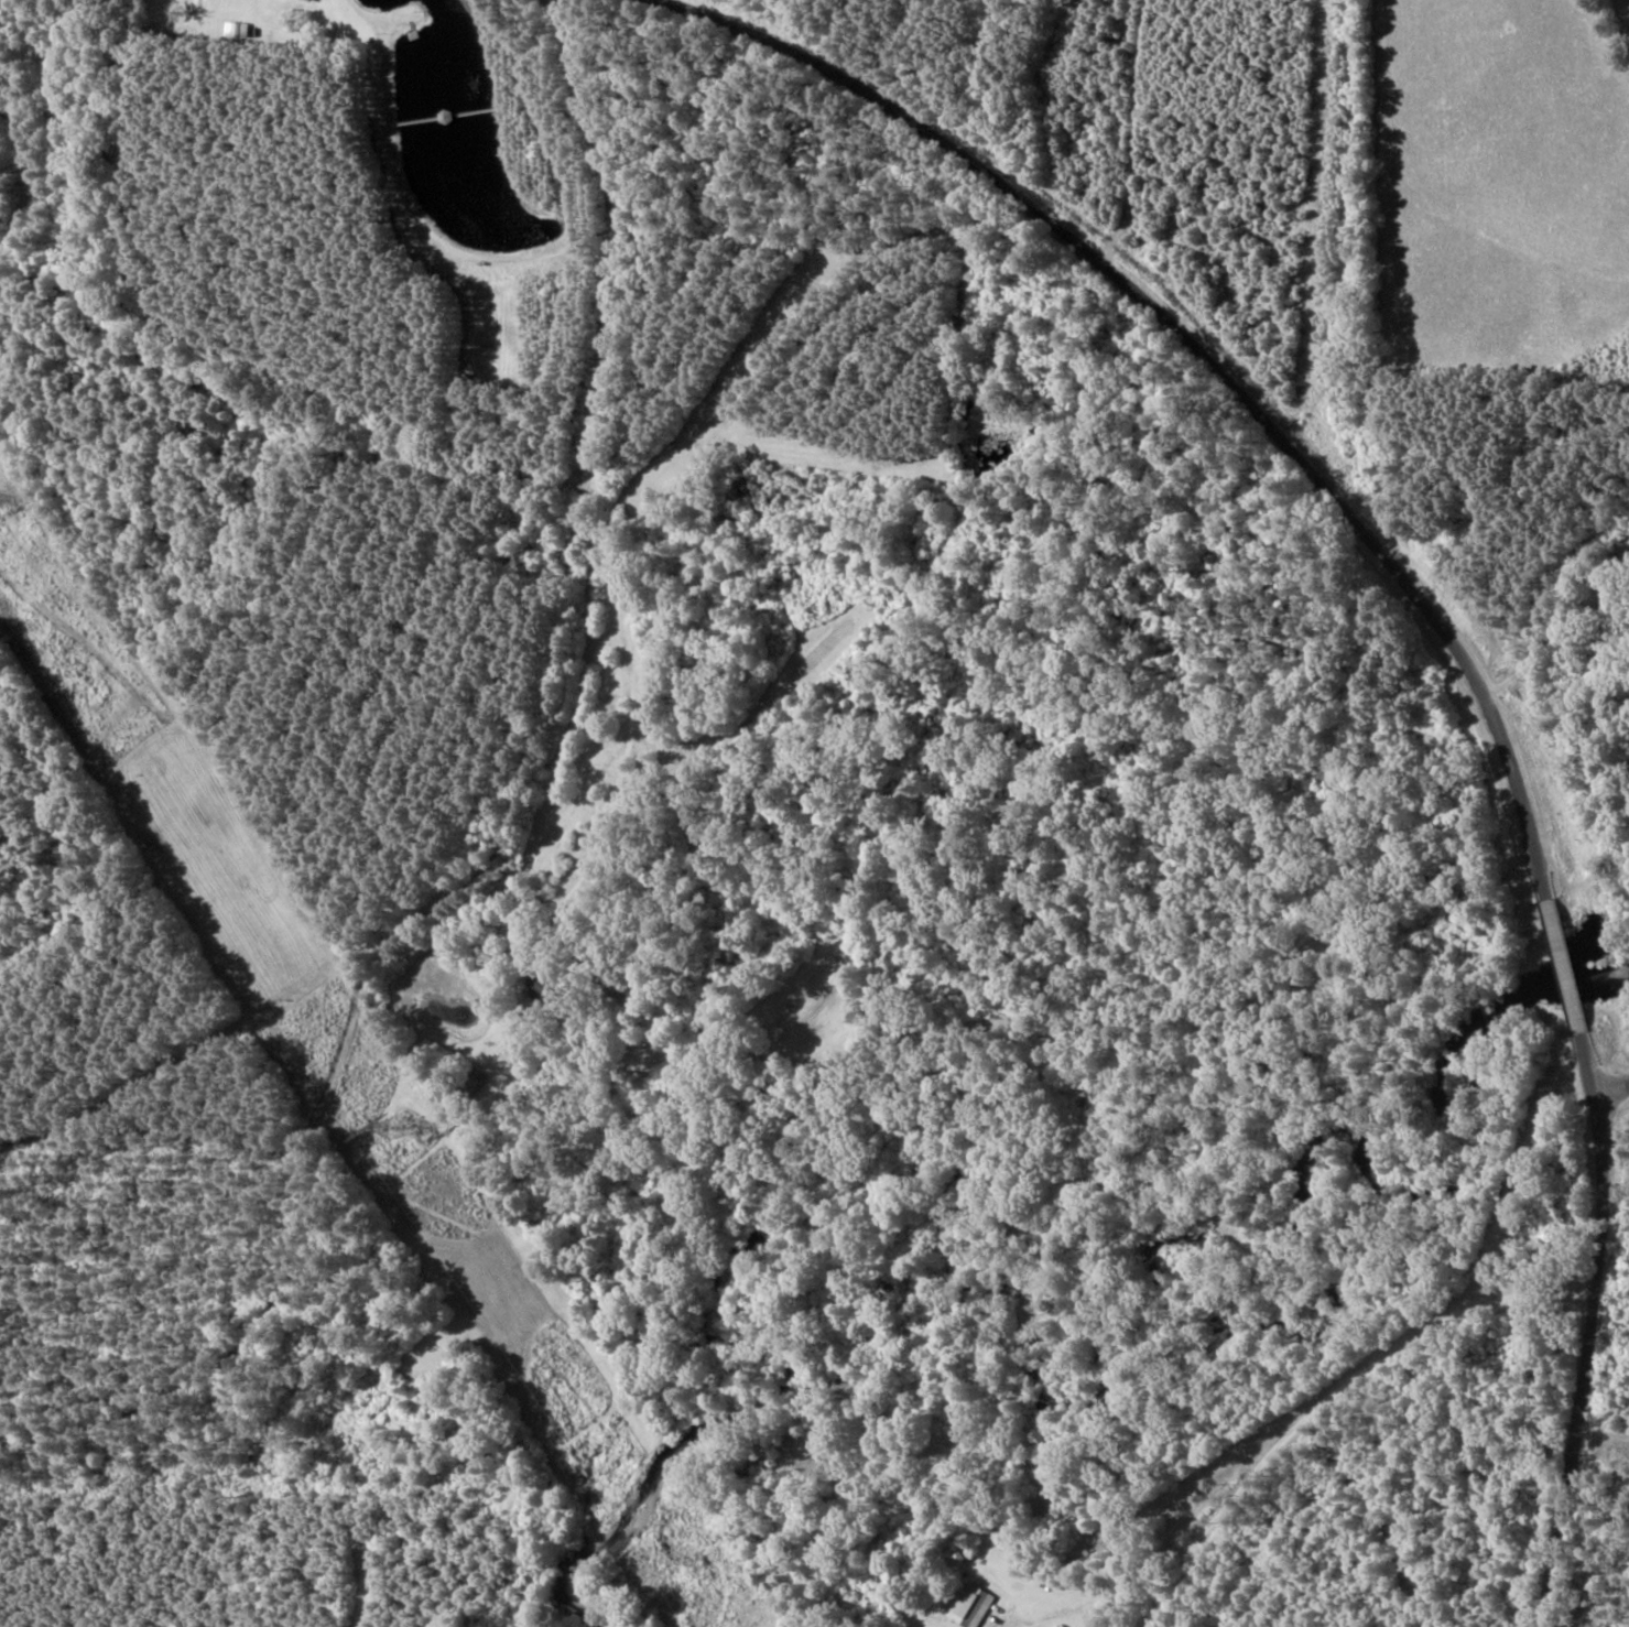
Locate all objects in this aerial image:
road: (1465, 568)
road: (1386, 629)
power tower: (387, 1124)
road: (1607, 1124)
building: (970, 1606)

